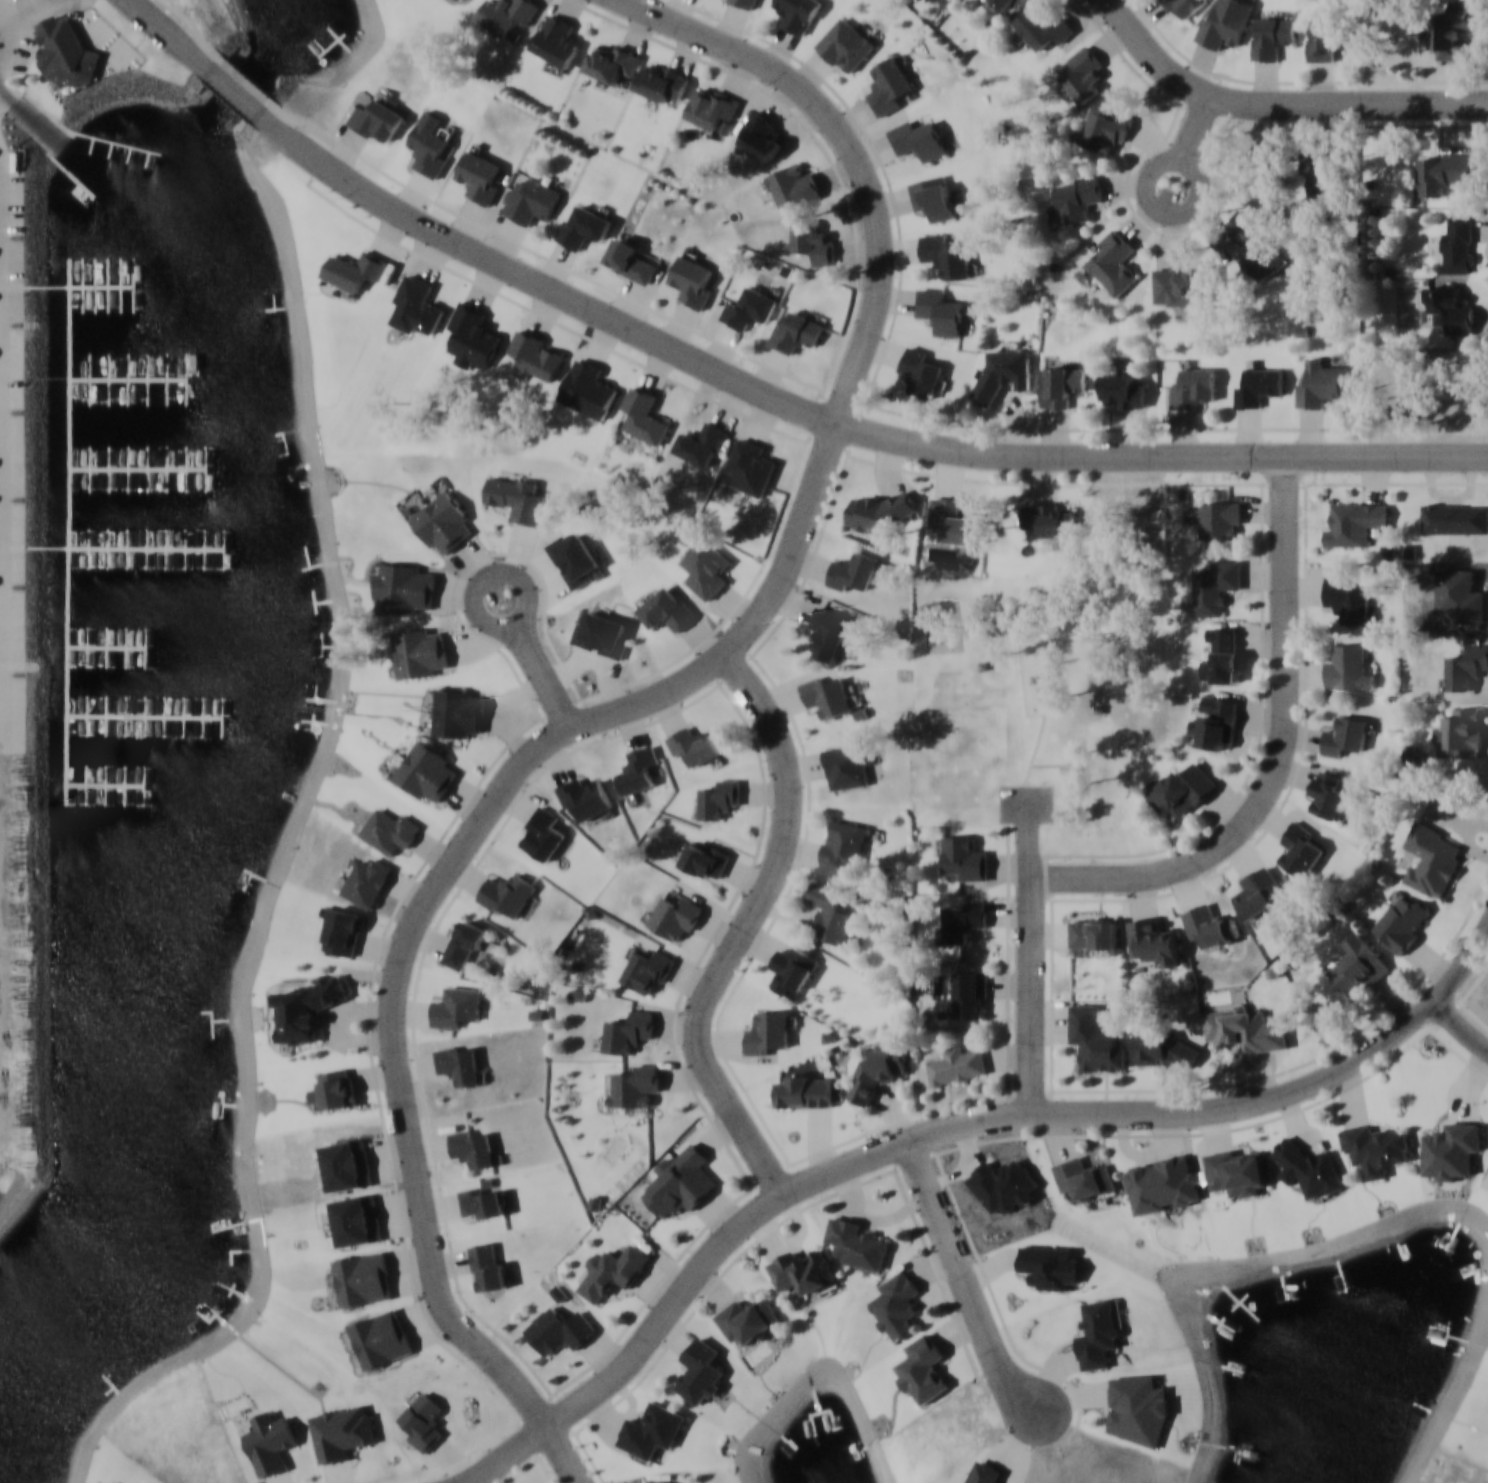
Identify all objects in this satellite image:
building: (745, 3)
building: (1007, 4)
building: (1184, 6)
building: (797, 14)
building: (505, 15)
building: (1043, 26)
building: (1223, 26)
building: (1451, 29)
building: (1271, 36)
road: (174, 37)
building: (1325, 37)
building: (557, 40)
building: (846, 44)
building: (68, 52)
building: (613, 63)
building: (1082, 73)
building: (663, 82)
building: (889, 85)
road: (241, 93)
building: (712, 106)
road: (1277, 106)
building: (378, 119)
building: (1105, 130)
building: (762, 135)
building: (918, 139)
building: (427, 148)
road: (853, 153)
building: (1443, 172)
building: (1320, 174)
building: (480, 175)
building: (793, 185)
building: (934, 197)
building: (1079, 197)
building: (532, 200)
road: (1189, 207)
building: (583, 225)
building: (814, 242)
building: (1457, 245)
building: (1256, 246)
building: (947, 254)
building: (630, 260)
building: (1113, 262)
building: (349, 273)
building: (692, 280)
building: (1185, 283)
building: (417, 305)
building: (751, 308)
building: (1451, 308)
building: (940, 311)
building: (797, 332)
building: (537, 355)
building: (923, 373)
building: (1003, 373)
building: (1322, 383)
building: (1061, 386)
building: (1260, 386)
building: (1194, 387)
building: (588, 389)
building: (1123, 390)
building: (645, 415)
road: (835, 425)
building: (703, 444)
building: (751, 467)
building: (517, 497)
building: (877, 511)
building: (1455, 518)
building: (956, 520)
building: (1049, 520)
building: (1221, 520)
building: (443, 522)
building: (1355, 522)
building: (574, 557)
building: (705, 567)
building: (853, 570)
building: (1216, 586)
building: (405, 587)
building: (1349, 598)
building: (668, 609)
building: (831, 632)
building: (601, 634)
building: (421, 652)
building: (1223, 655)
road: (536, 660)
building: (1466, 666)
building: (1348, 668)
building: (825, 694)
park: (1035, 704)
building: (458, 712)
building: (1217, 722)
building: (1460, 733)
building: (1346, 735)
building: (695, 745)
road: (1279, 759)
building: (848, 764)
building: (638, 769)
building: (427, 771)
building: (1185, 789)
building: (1329, 793)
building: (586, 796)
building: (720, 798)
building: (390, 830)
building: (542, 833)
building: (843, 848)
building: (1302, 850)
building: (964, 856)
building: (1432, 859)
building: (706, 860)
building: (368, 882)
building: (507, 892)
road: (428, 894)
building: (832, 914)
building: (675, 917)
building: (964, 920)
building: (1403, 923)
building: (1210, 926)
road: (744, 930)
building: (344, 931)
building: (1094, 933)
building: (465, 941)
building: (1154, 941)
building: (1358, 967)
building: (648, 971)
building: (970, 992)
road: (1439, 996)
road: (1036, 1000)
building: (456, 1006)
building: (308, 1008)
building: (1238, 1028)
building: (629, 1030)
building: (768, 1032)
building: (1095, 1039)
building: (1165, 1049)
building: (460, 1062)
building: (957, 1065)
building: (878, 1067)
building: (636, 1084)
building: (339, 1087)
building: (806, 1090)
road: (953, 1127)
building: (473, 1147)
building: (1376, 1147)
building: (1452, 1149)
building: (348, 1164)
building: (1236, 1172)
building: (1084, 1177)
building: (1163, 1183)
building: (484, 1202)
building: (358, 1219)
building: (857, 1243)
building: (488, 1265)
building: (802, 1270)
building: (613, 1271)
road: (967, 1274)
building: (363, 1277)
building: (898, 1305)
building: (749, 1318)
building: (560, 1329)
building: (1099, 1332)
building: (382, 1338)
building: (925, 1369)
building: (701, 1371)
building: (653, 1430)
building: (342, 1431)
building: (270, 1442)
road: (506, 1453)
building: (657, 1481)

